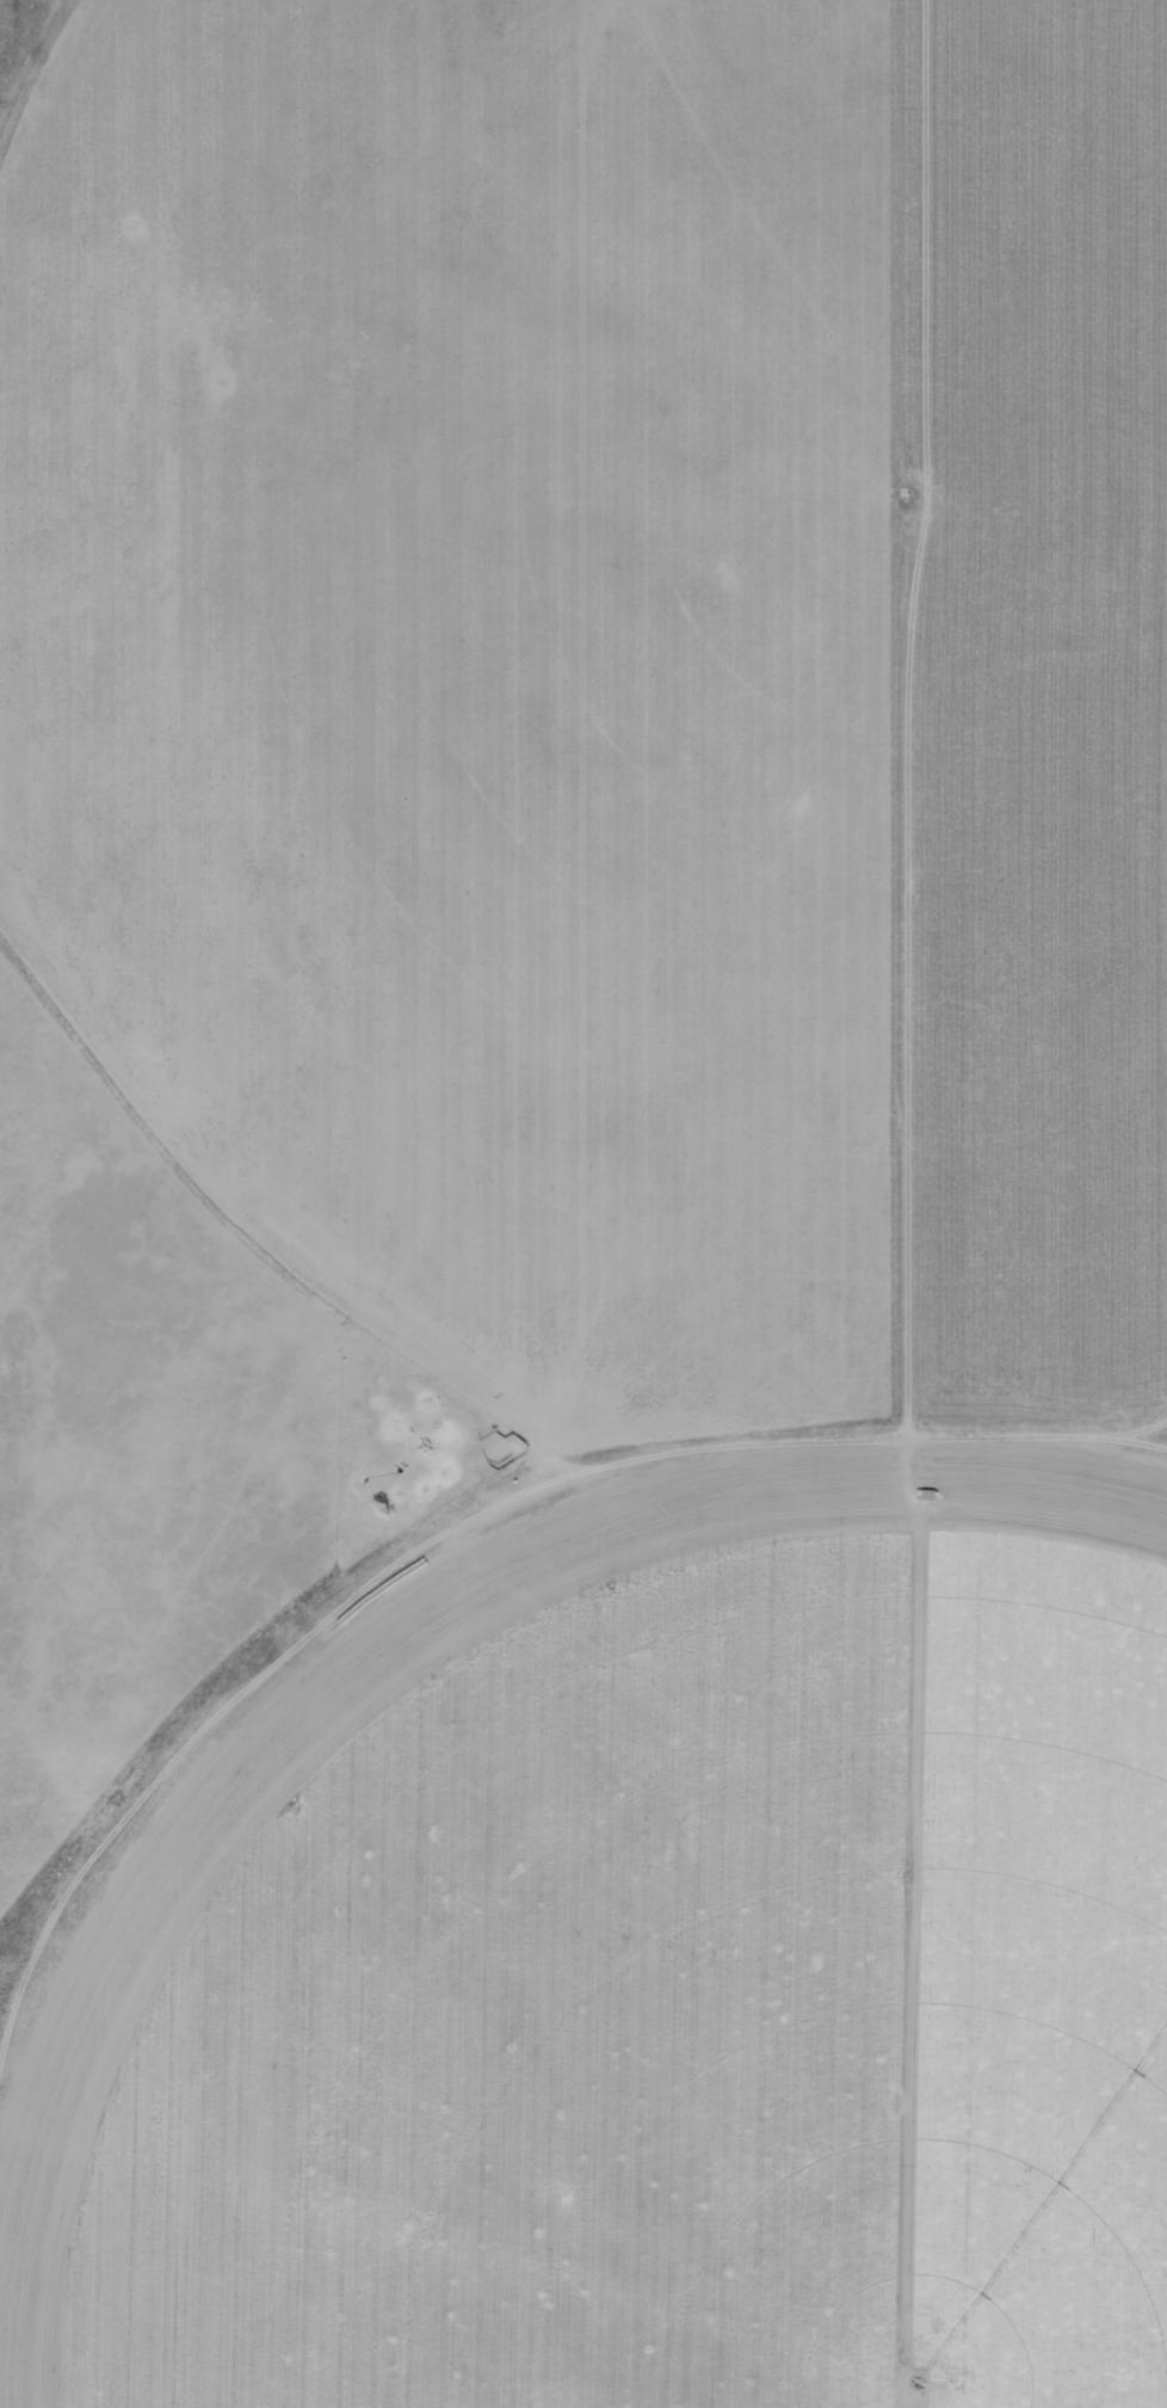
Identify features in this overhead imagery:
road: (30, 45)
road: (490, 1446)
road: (901, 1926)

